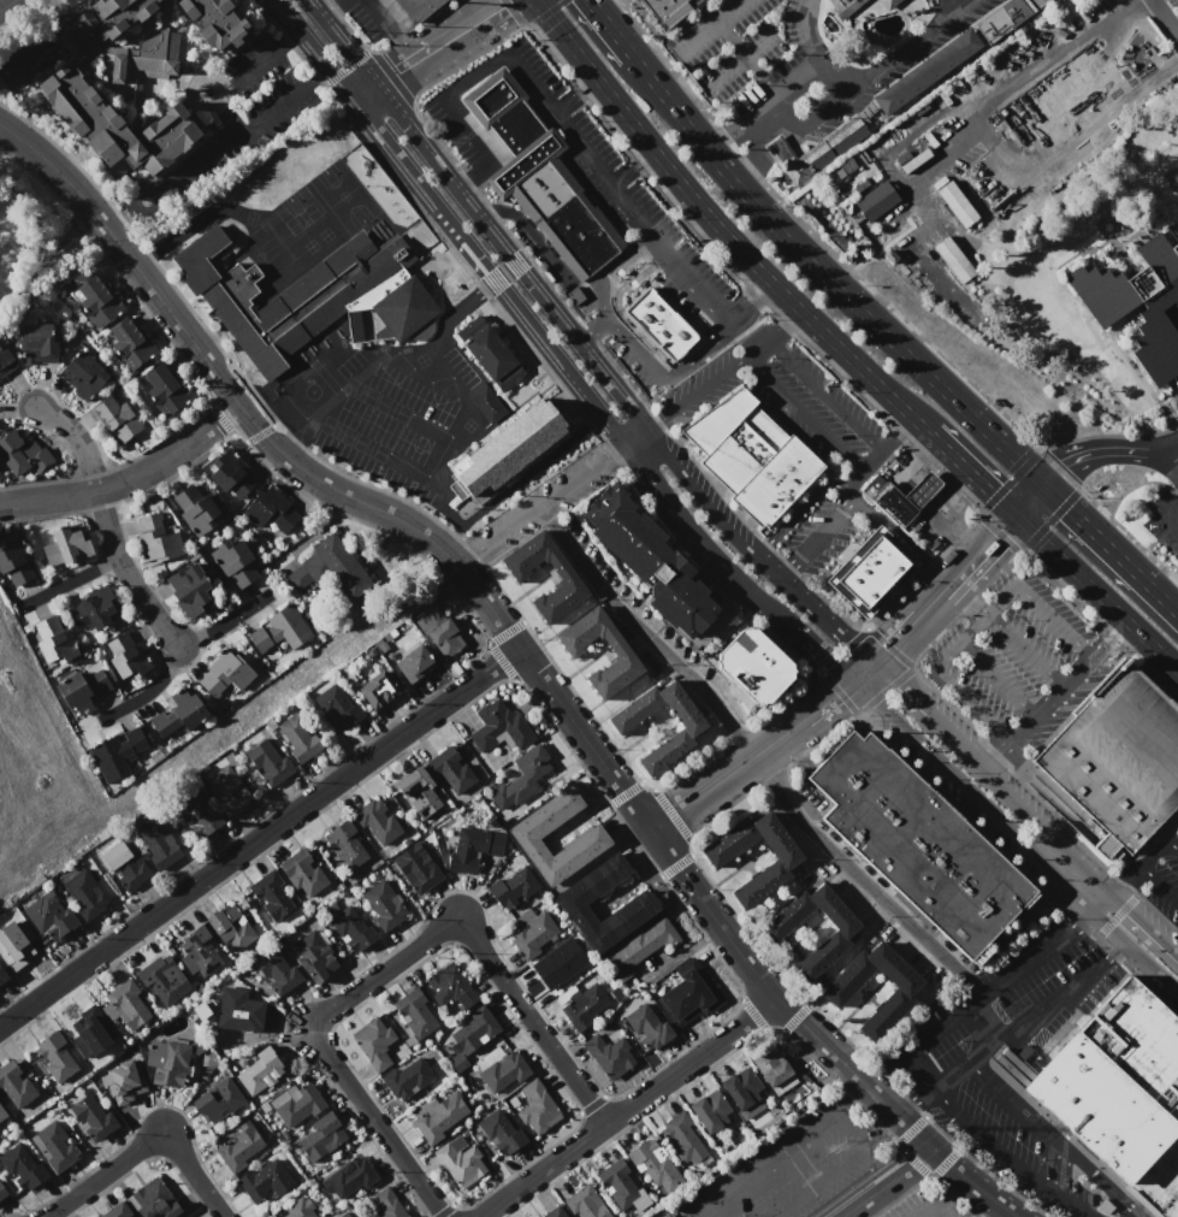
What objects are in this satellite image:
road: (4, 2)
building: (887, 4)
road: (951, 5)
building: (845, 6)
building: (415, 8)
road: (479, 10)
road: (502, 10)
building: (665, 11)
road: (1165, 17)
building: (214, 23)
road: (708, 25)
road: (606, 30)
road: (806, 33)
road: (289, 40)
road: (566, 40)
road: (746, 58)
road: (739, 59)
road: (420, 61)
road: (878, 67)
road: (251, 69)
road: (319, 77)
road: (833, 78)
road: (534, 83)
building: (67, 93)
building: (892, 95)
road: (576, 96)
road: (775, 98)
road: (197, 108)
road: (362, 111)
road: (226, 122)
road: (229, 141)
road: (958, 141)
road: (717, 142)
building: (972, 155)
road: (632, 166)
road: (473, 176)
building: (540, 177)
building: (875, 200)
building: (955, 203)
building: (1177, 214)
road: (191, 224)
park: (34, 241)
road: (472, 252)
road: (745, 256)
building: (952, 259)
road: (828, 280)
road: (695, 283)
road: (538, 291)
building: (308, 297)
building: (95, 299)
road: (747, 299)
road: (462, 303)
building: (1105, 311)
building: (661, 325)
road: (591, 332)
road: (771, 332)
building: (131, 343)
building: (36, 344)
road: (626, 347)
building: (490, 353)
building: (5, 361)
building: (82, 374)
road: (700, 384)
building: (165, 389)
road: (819, 392)
building: (485, 401)
road: (326, 408)
road: (402, 410)
road: (472, 412)
road: (800, 412)
road: (650, 417)
building: (116, 419)
road: (76, 439)
road: (1160, 447)
road: (874, 448)
road: (1132, 450)
building: (22, 453)
building: (505, 453)
building: (751, 455)
road: (633, 457)
road: (1077, 457)
road: (1162, 457)
road: (961, 466)
road: (1061, 469)
building: (231, 473)
road: (130, 478)
traffic signals: (1043, 486)
road: (511, 490)
road: (549, 492)
building: (899, 497)
road: (804, 498)
road: (1029, 501)
building: (195, 509)
road: (1165, 509)
building: (271, 512)
traffic signals: (1014, 515)
road: (889, 526)
road: (825, 530)
road: (995, 532)
building: (156, 539)
building: (66, 545)
road: (760, 545)
road: (982, 549)
road: (1111, 549)
building: (14, 560)
building: (235, 562)
building: (659, 567)
building: (331, 568)
road: (785, 569)
building: (870, 572)
road: (125, 573)
road: (940, 574)
building: (567, 579)
road: (72, 580)
building: (191, 591)
road: (1095, 595)
road: (934, 601)
building: (93, 607)
road: (824, 621)
road: (223, 624)
road: (976, 627)
building: (280, 628)
road: (640, 633)
building: (445, 637)
road: (1106, 638)
building: (53, 640)
road: (894, 640)
road: (487, 645)
building: (574, 648)
road: (1023, 650)
road: (522, 652)
road: (817, 655)
building: (124, 657)
parking lot: (1018, 663)
building: (413, 664)
building: (753, 668)
road: (860, 675)
road: (904, 675)
building: (223, 677)
road: (995, 680)
building: (82, 689)
road: (147, 690)
building: (379, 691)
road: (902, 693)
road: (1049, 696)
road: (580, 702)
road: (827, 702)
building: (338, 708)
building: (178, 719)
building: (501, 728)
building: (687, 732)
building: (298, 737)
road: (732, 737)
road: (561, 740)
road: (911, 744)
road: (955, 745)
building: (119, 754)
road: (995, 754)
building: (268, 762)
building: (1112, 763)
building: (450, 772)
road: (728, 774)
building: (528, 775)
road: (644, 786)
building: (227, 791)
building: (419, 793)
road: (623, 793)
building: (200, 814)
building: (377, 822)
road: (245, 827)
road: (1047, 832)
building: (526, 835)
road: (259, 837)
road: (1173, 841)
building: (156, 844)
building: (345, 846)
building: (918, 846)
building: (472, 847)
road: (255, 856)
road: (1032, 858)
road: (1146, 861)
building: (126, 864)
building: (781, 866)
building: (416, 869)
parking lot: (1159, 869)
building: (302, 874)
road: (859, 881)
road: (1159, 884)
building: (511, 888)
building: (84, 893)
building: (272, 897)
building: (574, 900)
road: (1102, 904)
building: (383, 905)
building: (48, 916)
road: (1115, 917)
road: (1144, 924)
building: (230, 928)
building: (353, 929)
building: (533, 935)
building: (840, 935)
building: (13, 947)
building: (639, 947)
building: (199, 955)
road: (1135, 955)
building: (315, 958)
building: (556, 964)
road: (390, 965)
building: (274, 970)
building: (2, 976)
building: (159, 983)
building: (449, 991)
building: (837, 993)
road: (981, 993)
building: (692, 996)
building: (128, 1005)
building: (585, 1009)
building: (414, 1014)
parking lot: (998, 1014)
building: (239, 1015)
road: (1028, 1015)
road: (982, 1022)
building: (646, 1026)
building: (473, 1029)
building: (89, 1032)
building: (377, 1044)
building: (608, 1052)
building: (53, 1057)
parking lot: (931, 1063)
building: (165, 1064)
building: (771, 1065)
building: (503, 1073)
building: (261, 1074)
building: (407, 1079)
building: (123, 1081)
building: (13, 1086)
building: (742, 1088)
building: (1119, 1097)
road: (916, 1100)
building: (217, 1101)
building: (295, 1104)
building: (533, 1107)
road: (627, 1107)
building: (710, 1111)
building: (2, 1116)
building: (440, 1117)
building: (91, 1118)
road: (850, 1127)
power tower: (948, 1127)
building: (499, 1132)
building: (319, 1136)
building: (683, 1138)
road: (1053, 1139)
road: (146, 1142)
building: (53, 1147)
building: (238, 1148)
road: (764, 1157)
building: (461, 1160)
road: (1007, 1160)
parking lot: (791, 1164)
building: (653, 1166)
building: (20, 1168)
building: (350, 1177)
building: (265, 1182)
road: (819, 1182)
road: (887, 1183)
building: (621, 1187)
road: (946, 1191)
building: (1, 1192)
building: (153, 1199)
building: (584, 1204)
parking lot: (925, 1204)
building: (381, 1205)
building: (296, 1209)
building: (116, 1211)
road: (923, 1211)
road: (939, 1211)
building: (554, 1212)
road: (699, 1212)
building: (343, 1215)
building: (351, 1216)
building: (663, 1216)
building: (667, 1216)

